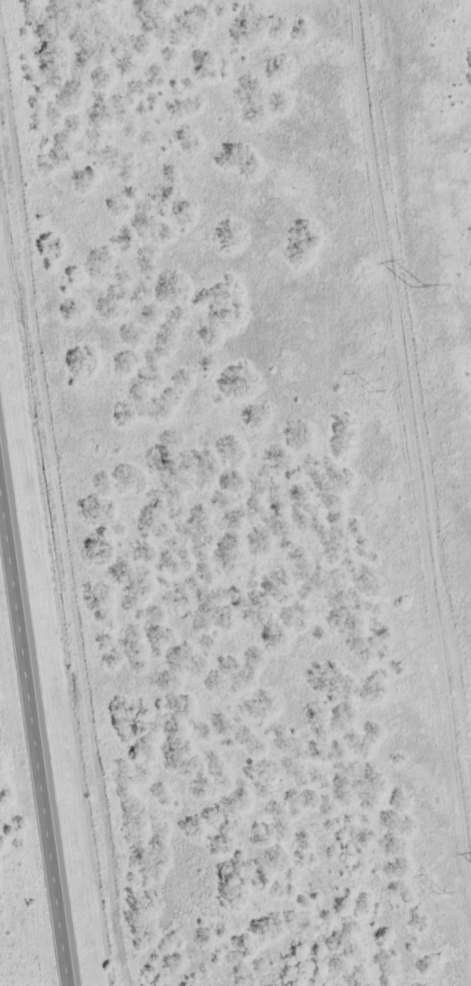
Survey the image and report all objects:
power tower: (416, 289)
power tower: (370, 390)
road: (35, 724)
power tower: (440, 891)

